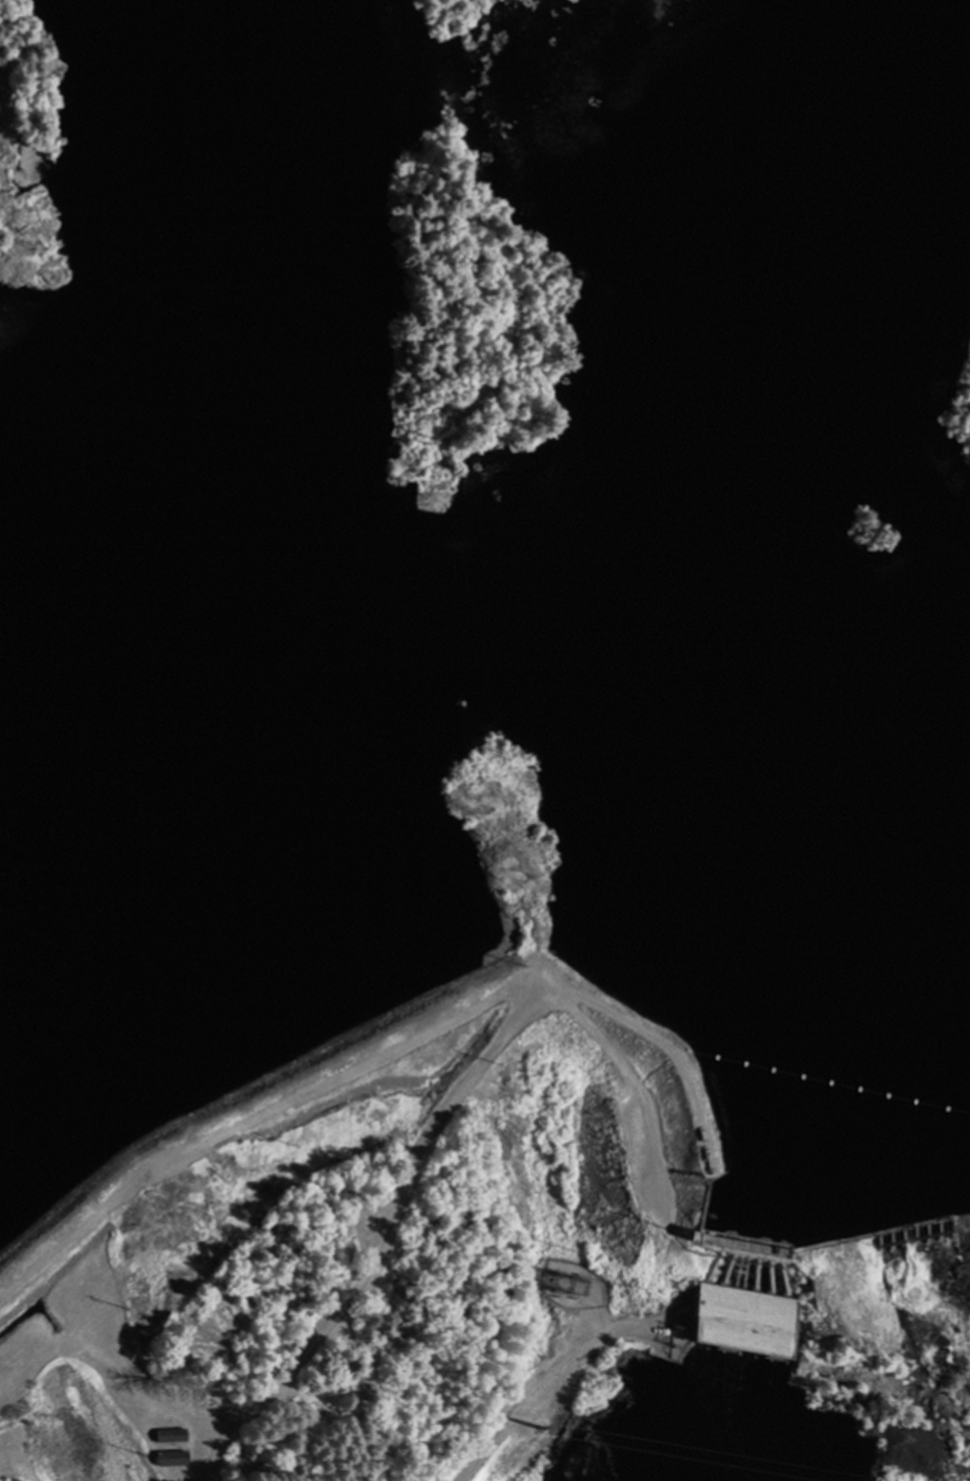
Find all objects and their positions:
power tower: (35, 252)
power tower: (425, 441)
river: (724, 644)
power tower: (497, 753)
power tower: (520, 964)
road: (668, 1047)
power tower: (498, 1066)
road: (436, 1125)
power tower: (295, 1141)
road: (707, 1200)
road: (674, 1220)
building: (707, 1229)
dam: (837, 1233)
road: (733, 1256)
power tower: (548, 1278)
power tower: (559, 1278)
power substation: (575, 1284)
river: (746, 1292)
power tower: (559, 1296)
power tower: (134, 1309)
road: (674, 1313)
building: (751, 1321)
power substation: (677, 1337)
road: (545, 1381)
river: (725, 1415)
power tower: (539, 1428)
building: (169, 1432)
building: (168, 1453)

